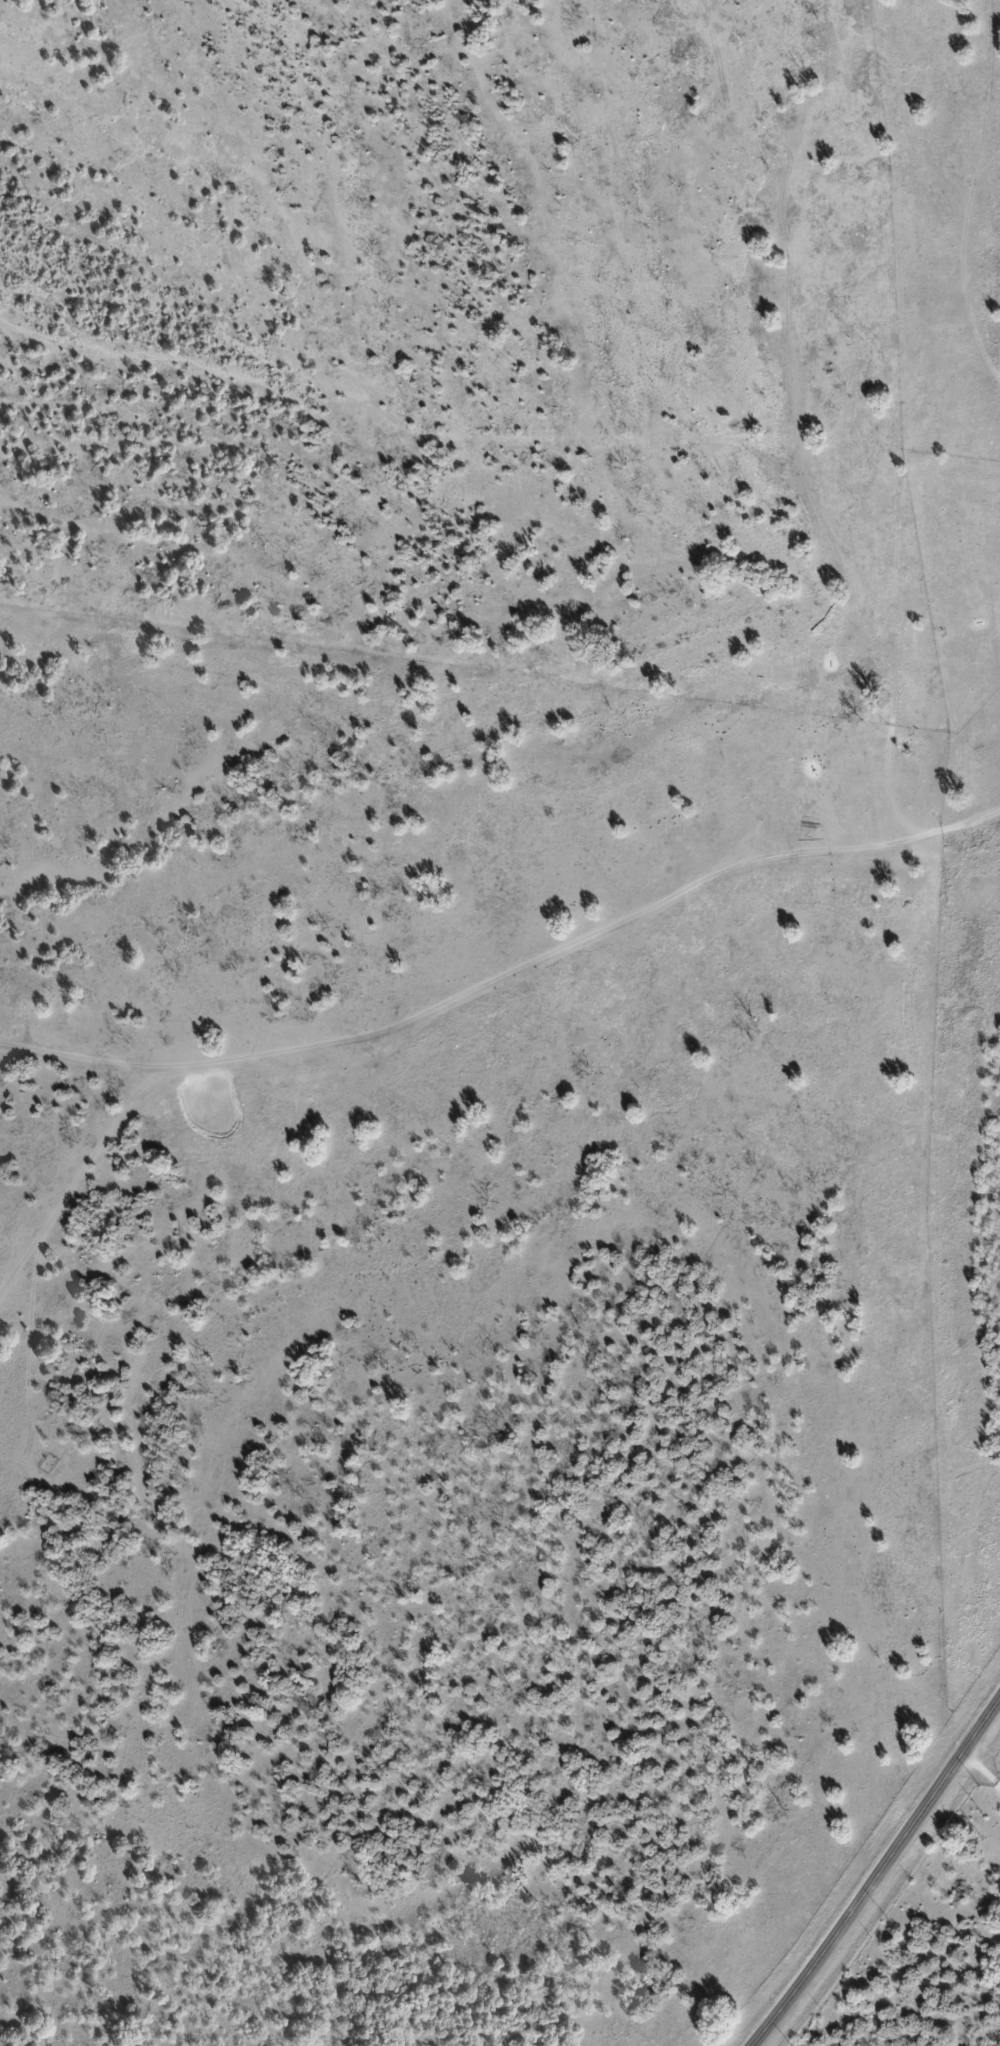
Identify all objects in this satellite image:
building: (905, 878)
road: (508, 1013)
road: (982, 1569)
road: (878, 1876)

